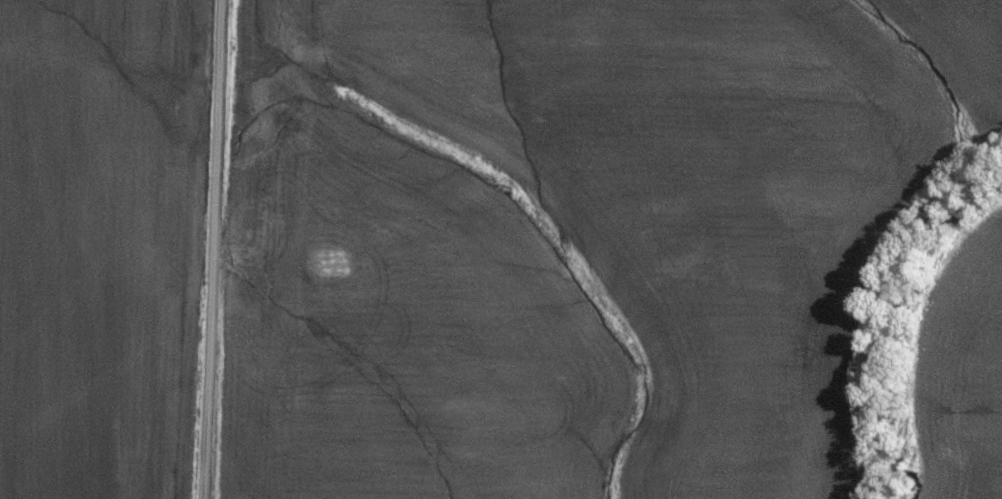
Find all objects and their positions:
road: (213, 249)

